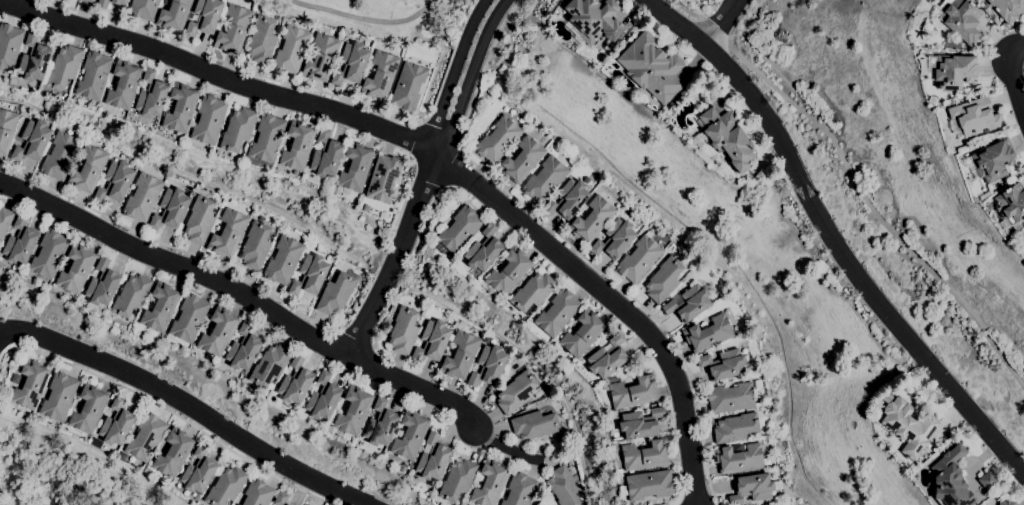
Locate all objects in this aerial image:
building: (80, 0)
building: (89, 1)
building: (102, 4)
building: (1006, 8)
building: (143, 9)
park: (389, 13)
building: (174, 15)
road: (697, 15)
building: (205, 17)
road: (369, 18)
building: (594, 19)
building: (962, 20)
road: (720, 23)
building: (233, 29)
road: (716, 29)
building: (261, 40)
building: (9, 46)
building: (291, 50)
building: (321, 58)
building: (33, 59)
building: (351, 64)
road: (235, 65)
building: (64, 67)
road: (456, 67)
building: (651, 67)
road: (1023, 68)
road: (472, 69)
building: (953, 71)
building: (380, 75)
road: (1007, 75)
building: (93, 76)
building: (123, 85)
building: (408, 86)
building: (151, 95)
building: (180, 108)
building: (973, 117)
building: (209, 120)
building: (6, 129)
building: (237, 129)
road: (438, 136)
building: (727, 137)
building: (267, 138)
building: (498, 140)
building: (32, 141)
building: (298, 145)
building: (326, 155)
road: (436, 155)
building: (60, 156)
building: (521, 160)
building: (993, 161)
road: (452, 165)
building: (354, 169)
building: (88, 170)
building: (383, 179)
building: (545, 179)
building: (115, 182)
building: (142, 197)
building: (567, 199)
building: (1011, 206)
building: (170, 209)
road: (875, 210)
building: (5, 220)
building: (199, 220)
building: (592, 220)
building: (459, 229)
building: (228, 233)
road: (833, 235)
building: (614, 239)
building: (20, 241)
road: (573, 245)
building: (255, 246)
road: (399, 246)
road: (168, 247)
building: (483, 250)
building: (49, 254)
building: (638, 259)
building: (283, 260)
road: (409, 264)
building: (76, 269)
building: (507, 273)
building: (309, 275)
building: (663, 280)
building: (101, 287)
road: (245, 290)
building: (533, 292)
building: (335, 294)
building: (131, 295)
building: (688, 303)
building: (160, 307)
building: (557, 313)
building: (189, 318)
building: (403, 331)
building: (218, 332)
building: (582, 334)
building: (708, 334)
road: (354, 335)
building: (486, 340)
building: (432, 341)
building: (244, 348)
building: (461, 353)
building: (608, 357)
building: (723, 364)
building: (269, 365)
building: (488, 366)
building: (295, 382)
building: (30, 384)
building: (516, 392)
building: (632, 392)
building: (59, 396)
building: (323, 397)
building: (730, 398)
road: (191, 402)
road: (167, 405)
building: (88, 409)
building: (353, 411)
building: (116, 423)
building: (640, 423)
building: (380, 424)
building: (534, 425)
building: (908, 427)
building: (735, 428)
building: (409, 436)
building: (146, 437)
road: (508, 445)
building: (173, 453)
building: (644, 455)
building: (432, 458)
building: (739, 458)
building: (198, 471)
building: (950, 479)
building: (457, 480)
building: (988, 480)
park: (43, 483)
building: (489, 483)
building: (648, 485)
building: (226, 486)
building: (563, 486)
building: (751, 488)
building: (519, 489)
building: (258, 493)
building: (280, 499)
building: (1006, 502)

